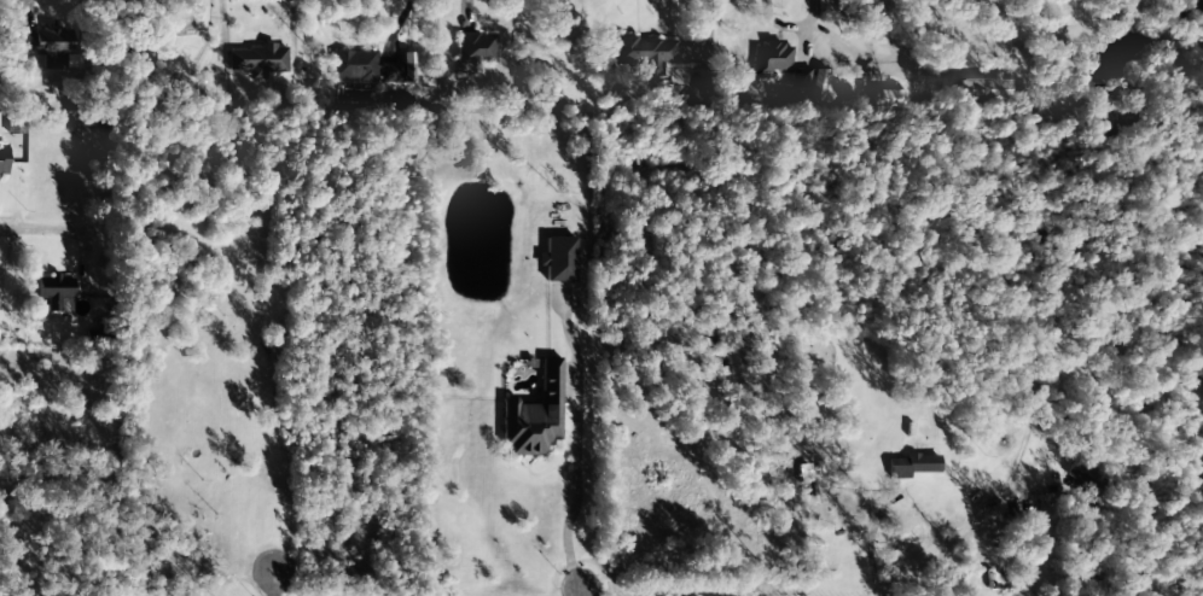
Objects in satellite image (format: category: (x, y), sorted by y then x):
building: (47, 43)
building: (475, 49)
building: (646, 53)
building: (257, 60)
building: (779, 64)
building: (550, 88)
building: (984, 89)
building: (893, 99)
building: (1, 160)
road: (34, 215)
building: (558, 259)
building: (54, 290)
building: (534, 415)
building: (912, 466)
building: (1088, 475)
road: (268, 583)
road: (575, 592)

